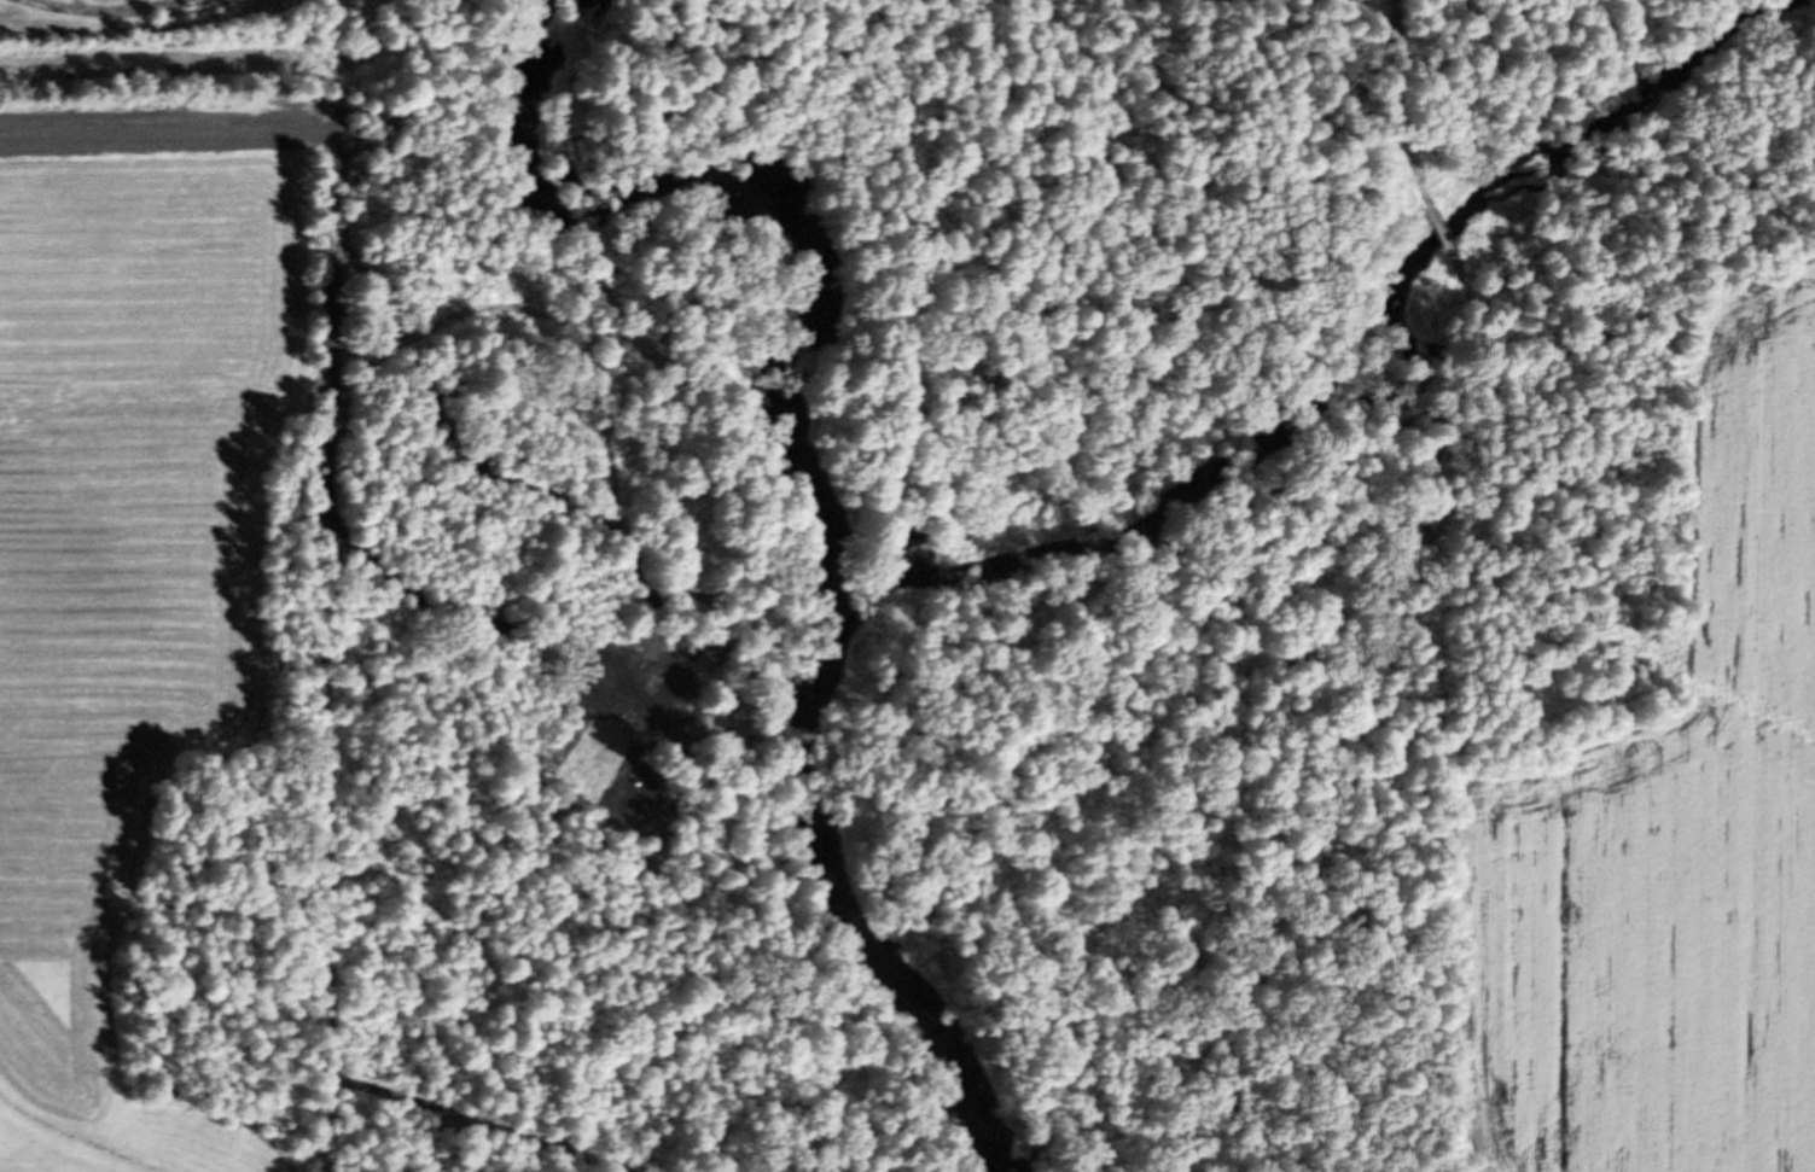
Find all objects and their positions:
building: (601, 658)
building: (415, 863)

